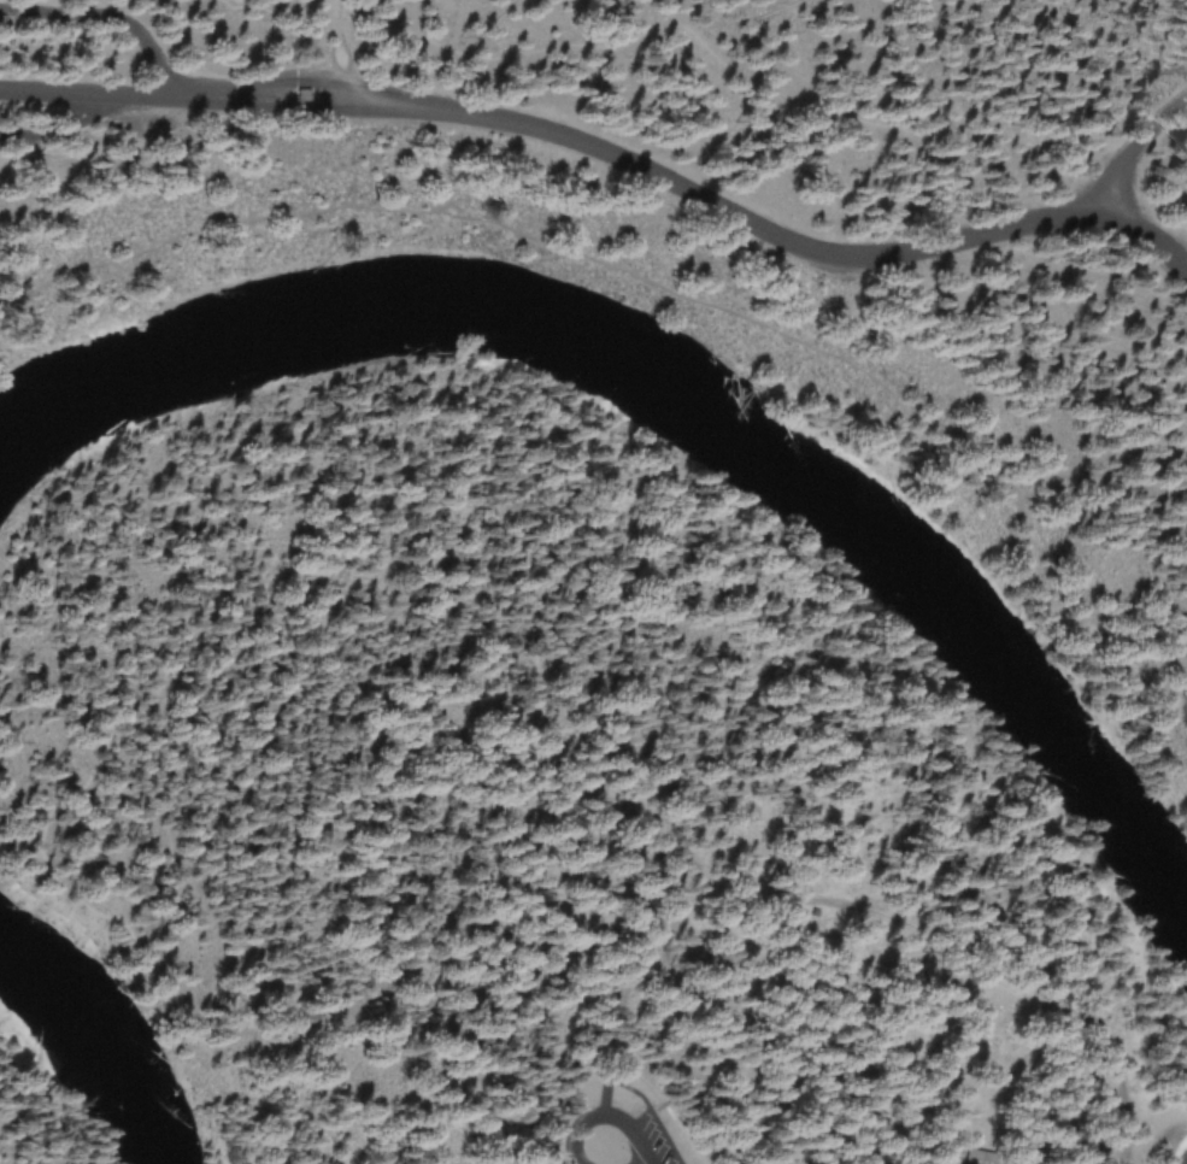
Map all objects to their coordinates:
road: (105, 14)
road: (1121, 33)
road: (330, 49)
road: (151, 88)
toll booth: (302, 96)
road: (92, 133)
road: (1136, 141)
road: (752, 222)
road: (666, 290)
river: (678, 398)
road: (421, 728)
road: (852, 947)
river: (94, 1045)
road: (607, 1093)
parking lot: (611, 1119)
road: (560, 1156)
building: (979, 1160)

